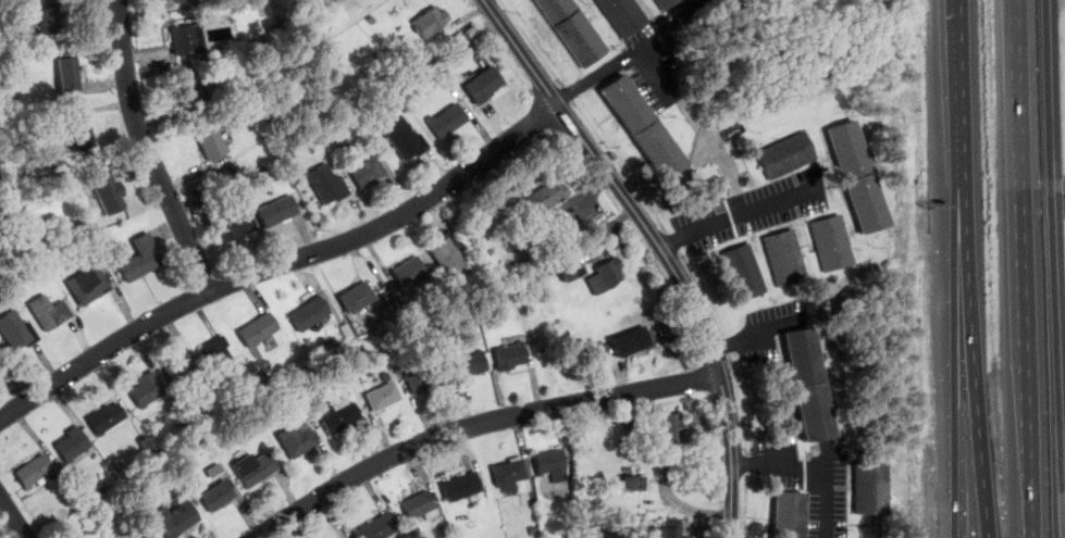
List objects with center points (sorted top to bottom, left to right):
building: (179, 2)
building: (668, 3)
building: (623, 16)
building: (372, 18)
building: (52, 23)
building: (432, 23)
building: (575, 30)
building: (473, 33)
building: (186, 42)
building: (404, 48)
road: (632, 49)
building: (70, 77)
building: (484, 84)
building: (197, 88)
building: (449, 121)
building: (642, 127)
building: (81, 133)
building: (403, 134)
building: (212, 142)
road: (147, 150)
road: (720, 154)
building: (784, 155)
building: (369, 175)
building: (857, 177)
building: (223, 180)
building: (329, 187)
building: (108, 191)
building: (207, 197)
building: (547, 197)
building: (146, 212)
building: (278, 214)
road: (1056, 220)
building: (230, 226)
road: (701, 229)
building: (522, 237)
building: (830, 245)
building: (549, 246)
road: (659, 249)
building: (451, 255)
building: (536, 257)
building: (783, 258)
building: (144, 261)
road: (282, 263)
building: (572, 268)
road: (959, 268)
road: (1021, 268)
building: (412, 273)
building: (742, 274)
building: (608, 277)
building: (90, 286)
building: (360, 298)
building: (51, 315)
building: (312, 315)
building: (261, 330)
building: (17, 334)
building: (632, 341)
building: (513, 356)
building: (223, 359)
building: (472, 366)
building: (183, 371)
building: (386, 378)
building: (430, 380)
building: (807, 386)
building: (149, 390)
building: (386, 398)
building: (342, 417)
building: (108, 418)
road: (478, 425)
building: (669, 428)
building: (299, 440)
building: (75, 445)
building: (554, 465)
road: (815, 467)
building: (257, 471)
building: (36, 472)
building: (216, 472)
building: (515, 476)
building: (634, 484)
building: (463, 488)
building: (869, 489)
building: (216, 497)
building: (423, 505)
building: (788, 515)
road: (11, 520)
building: (177, 520)
building: (381, 527)
building: (671, 529)
building: (148, 536)
building: (618, 537)

